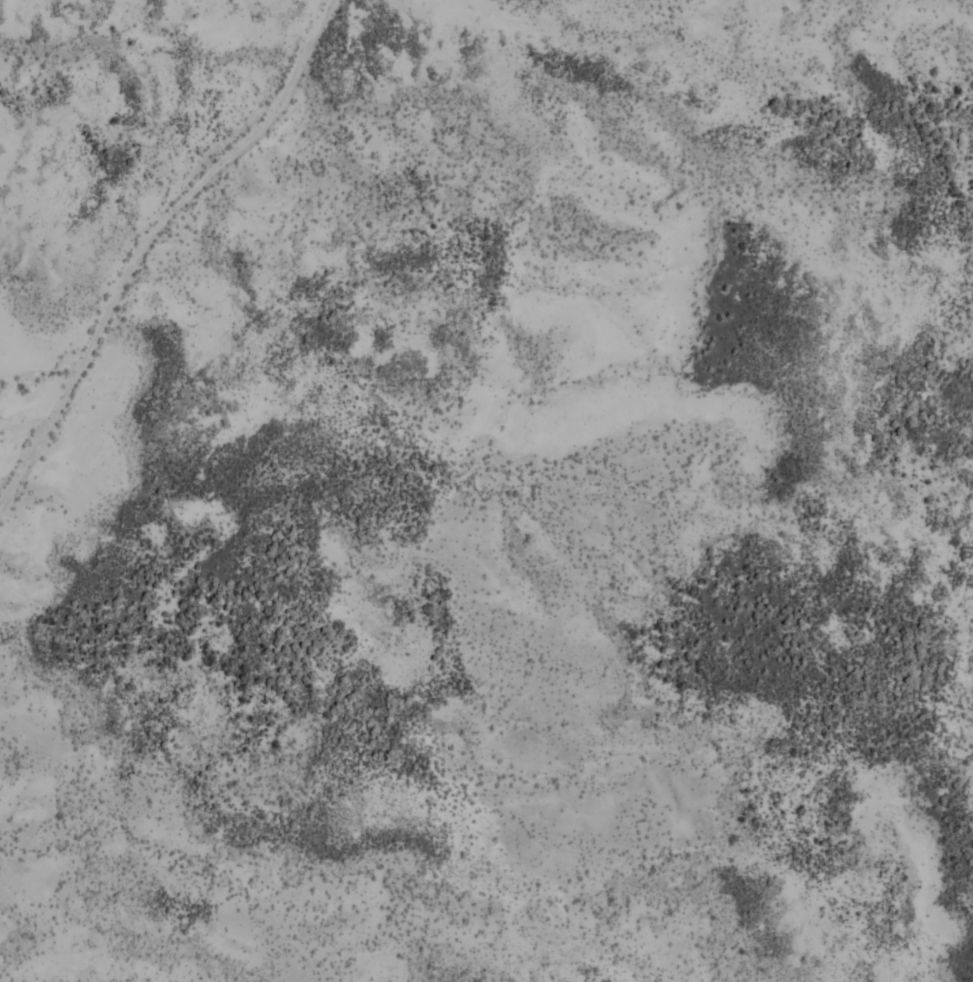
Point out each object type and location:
road: (134, 211)

